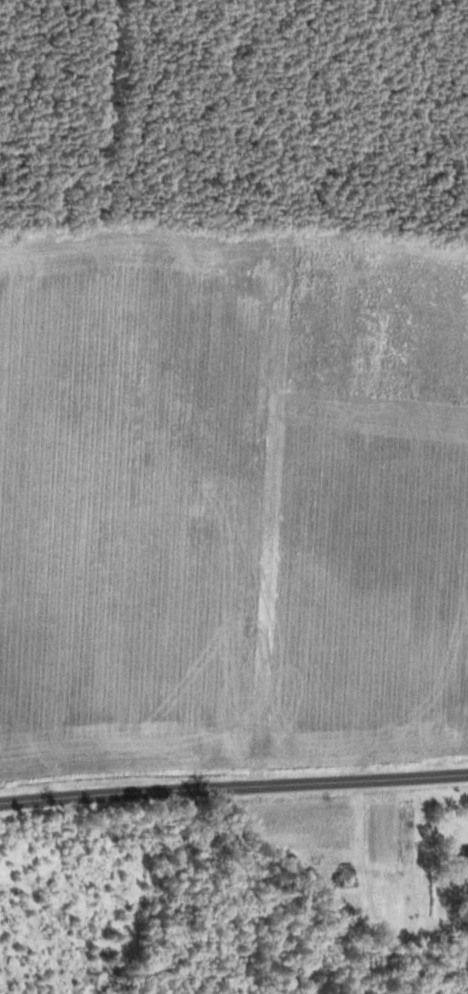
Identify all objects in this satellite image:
road: (233, 785)
building: (462, 853)
building: (343, 875)

